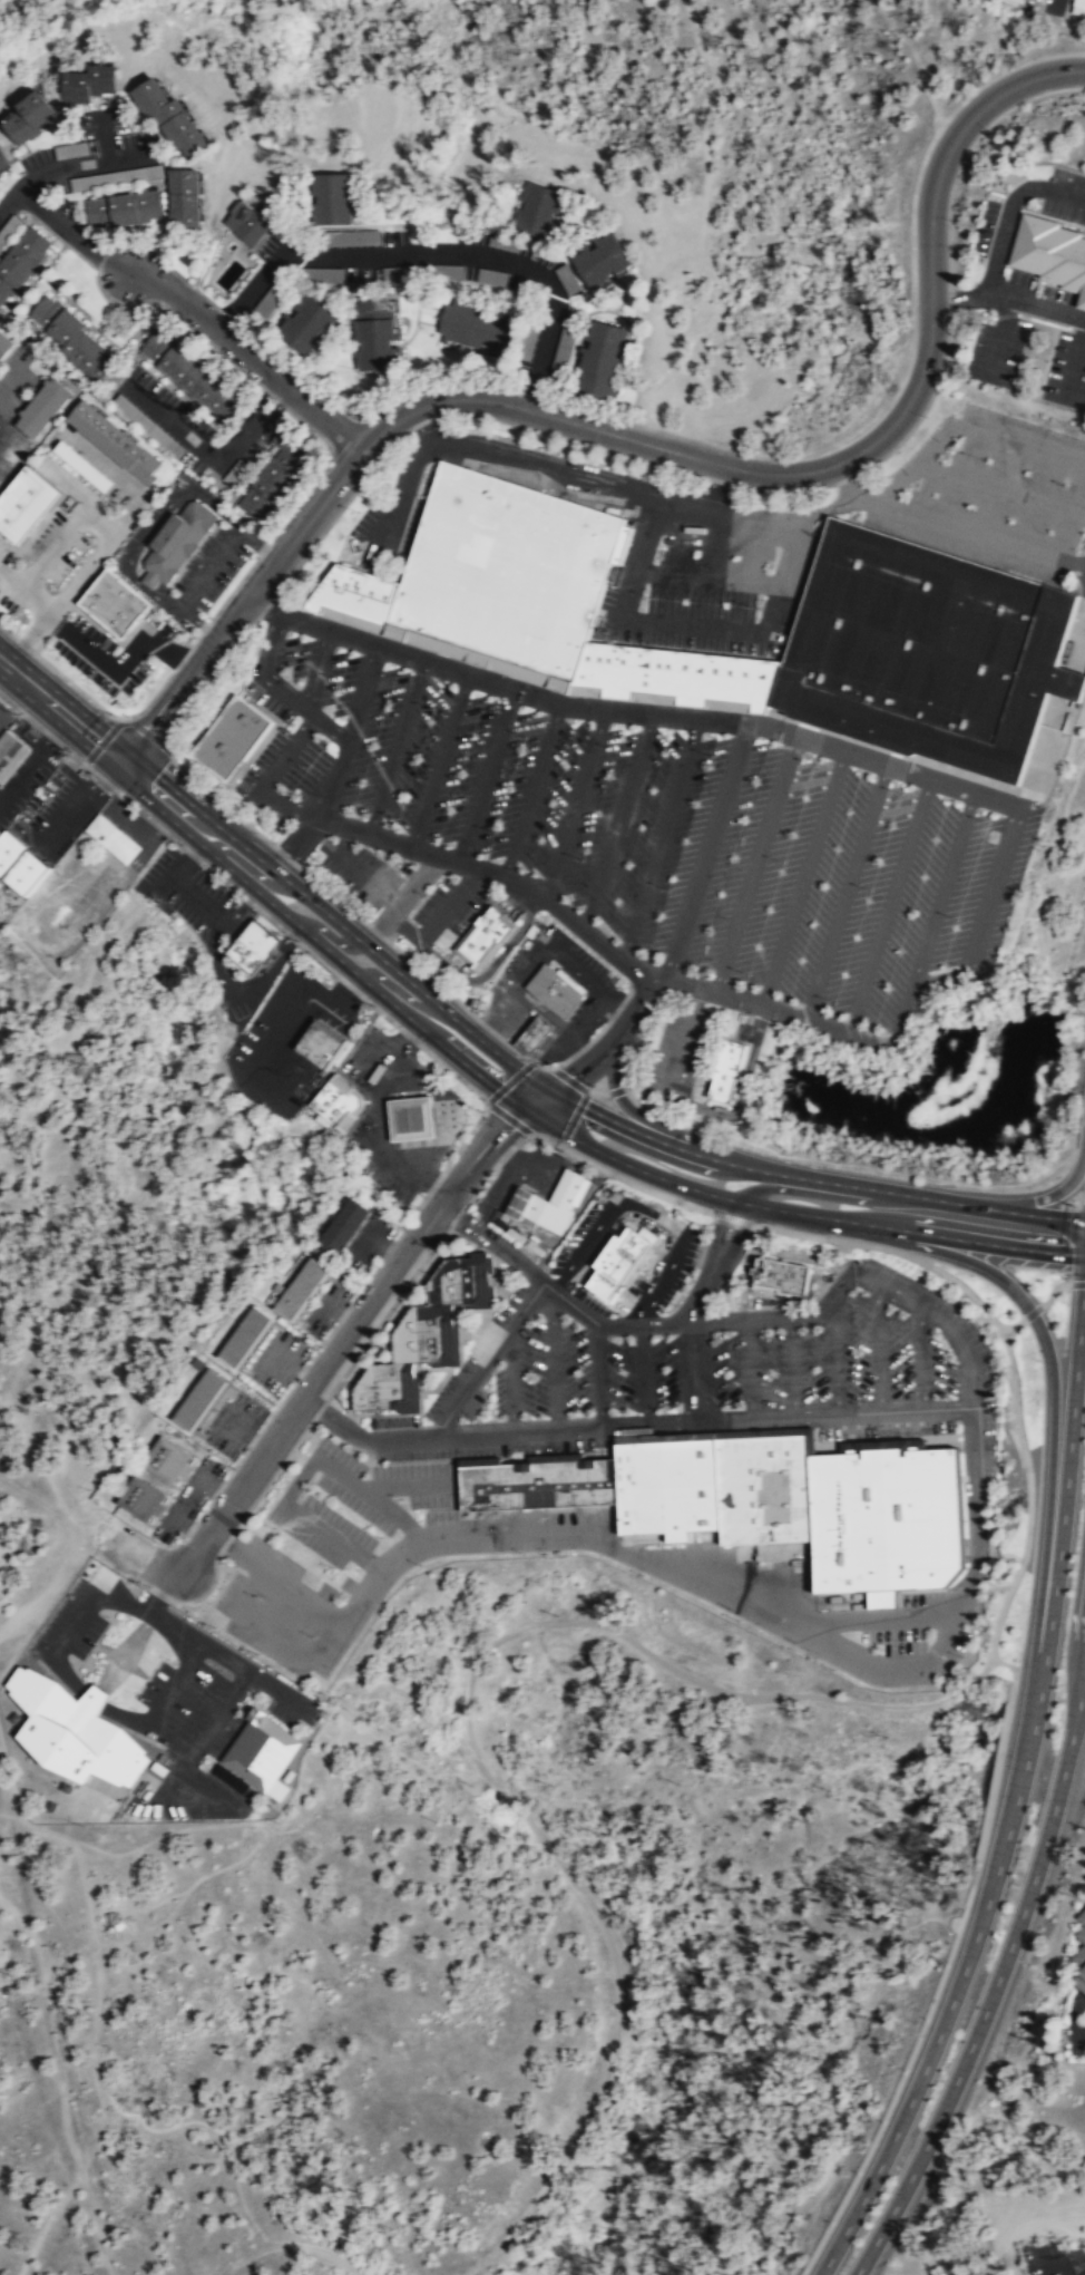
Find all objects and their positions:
building: (1017, 0)
building: (1033, 0)
building: (1036, 0)
road: (1052, 3)
building: (1077, 7)
building: (88, 81)
building: (170, 115)
building: (28, 116)
road: (107, 136)
building: (3, 162)
road: (16, 188)
road: (8, 196)
building: (184, 197)
road: (302, 198)
building: (333, 198)
building: (123, 207)
road: (1008, 207)
building: (536, 208)
road: (360, 211)
building: (247, 223)
road: (402, 224)
building: (359, 237)
building: (504, 242)
road: (436, 253)
building: (1050, 253)
building: (603, 259)
building: (20, 260)
building: (403, 272)
road: (135, 275)
building: (326, 275)
building: (490, 278)
building: (568, 279)
road: (439, 280)
road: (297, 283)
road: (585, 283)
road: (291, 286)
road: (299, 291)
road: (381, 293)
road: (622, 294)
road: (960, 294)
road: (496, 296)
road: (517, 296)
building: (271, 300)
road: (429, 305)
road: (1037, 307)
parking lot: (235, 308)
road: (614, 312)
road: (270, 313)
road: (233, 315)
road: (414, 315)
road: (426, 322)
building: (307, 324)
building: (477, 328)
building: (375, 332)
road: (989, 334)
building: (72, 337)
building: (6, 344)
road: (255, 359)
building: (602, 359)
road: (1073, 359)
road: (504, 366)
building: (190, 373)
road: (573, 391)
road: (534, 393)
street lamp: (549, 397)
building: (47, 407)
road: (994, 432)
road: (8, 441)
building: (114, 441)
road: (661, 447)
road: (213, 457)
road: (881, 458)
road: (101, 467)
road: (558, 467)
road: (845, 471)
road: (970, 477)
building: (274, 478)
street lamp: (365, 484)
road: (346, 500)
road: (397, 503)
building: (25, 504)
parking lot: (785, 528)
road: (721, 531)
road: (754, 531)
road: (65, 532)
road: (961, 532)
building: (178, 539)
building: (669, 539)
road: (135, 542)
road: (224, 550)
parking lot: (49, 553)
parking lot: (209, 567)
building: (508, 568)
road: (703, 579)
road: (74, 582)
road: (26, 587)
building: (359, 592)
road: (276, 593)
building: (114, 601)
road: (267, 605)
road: (89, 616)
road: (283, 630)
road: (719, 630)
road: (270, 642)
building: (928, 649)
road: (1079, 649)
parking lot: (102, 655)
road: (424, 662)
road: (119, 665)
road: (317, 669)
road: (410, 671)
road: (509, 671)
building: (678, 672)
road: (426, 675)
road: (166, 678)
road: (209, 681)
road: (362, 694)
road: (647, 696)
road: (52, 703)
road: (479, 703)
road: (587, 704)
road: (305, 707)
road: (514, 709)
road: (121, 719)
road: (593, 731)
road: (581, 733)
building: (232, 737)
road: (811, 742)
road: (814, 743)
road: (395, 747)
road: (117, 750)
road: (285, 752)
building: (11, 755)
road: (35, 758)
road: (108, 760)
road: (439, 760)
road: (119, 762)
road: (811, 762)
parking lot: (27, 768)
road: (1042, 774)
road: (485, 775)
road: (333, 778)
road: (805, 786)
road: (898, 786)
road: (530, 790)
road: (217, 799)
road: (285, 803)
road: (575, 805)
road: (78, 808)
parking lot: (57, 811)
road: (617, 821)
parking lot: (636, 829)
building: (0, 832)
building: (111, 837)
road: (662, 838)
road: (294, 842)
road: (151, 845)
road: (184, 848)
road: (706, 850)
road: (285, 855)
parking lot: (139, 858)
road: (753, 864)
building: (19, 865)
road: (246, 866)
road: (354, 868)
road: (500, 874)
road: (801, 879)
road: (993, 887)
road: (188, 891)
road: (944, 891)
road: (332, 894)
road: (844, 894)
road: (399, 896)
parking lot: (193, 898)
road: (447, 904)
road: (888, 907)
road: (339, 924)
road: (400, 926)
road: (375, 930)
road: (324, 934)
building: (486, 935)
road: (291, 937)
road: (317, 941)
building: (252, 946)
road: (221, 959)
road: (316, 959)
road: (266, 961)
road: (488, 969)
road: (270, 973)
parking lot: (561, 975)
road: (431, 978)
road: (586, 978)
road: (940, 979)
road: (350, 986)
building: (554, 990)
road: (628, 991)
road: (403, 995)
road: (616, 1008)
road: (617, 1008)
parking lot: (238, 1009)
road: (286, 1009)
road: (902, 1011)
road: (380, 1012)
road: (781, 1013)
road: (519, 1019)
street lamp: (382, 1030)
road: (490, 1030)
road: (599, 1030)
road: (619, 1032)
building: (536, 1033)
gas station: (536, 1033)
road: (409, 1036)
parking lot: (287, 1039)
road: (681, 1039)
building: (320, 1046)
road: (583, 1046)
road: (628, 1048)
street lamp: (345, 1049)
road: (518, 1051)
parking lot: (676, 1052)
street lamp: (417, 1054)
road: (569, 1056)
road: (586, 1057)
road: (556, 1064)
road: (540, 1066)
building: (727, 1068)
road: (339, 1071)
road: (559, 1073)
road: (508, 1082)
road: (561, 1086)
road: (578, 1086)
road: (616, 1090)
road: (597, 1092)
road: (739, 1097)
road: (540, 1099)
road: (364, 1100)
building: (339, 1101)
road: (634, 1112)
road: (508, 1117)
building: (411, 1118)
gas station: (411, 1118)
road: (573, 1118)
road: (382, 1121)
street lamp: (465, 1125)
road: (586, 1128)
street lamp: (439, 1160)
street lamp: (451, 1160)
road: (459, 1177)
road: (664, 1179)
road: (812, 1179)
street lamp: (473, 1192)
road: (822, 1194)
road: (1044, 1197)
building: (549, 1202)
road: (669, 1206)
road: (632, 1214)
road: (604, 1216)
road: (663, 1224)
road: (720, 1225)
building: (342, 1226)
street lamp: (405, 1226)
road: (737, 1233)
road: (949, 1237)
parking lot: (368, 1239)
road: (378, 1239)
road: (768, 1248)
street lamp: (701, 1252)
road: (646, 1253)
building: (618, 1262)
street lamp: (424, 1272)
building: (783, 1274)
street lamp: (970, 1274)
road: (661, 1281)
road: (1077, 1282)
building: (457, 1283)
road: (362, 1284)
building: (301, 1287)
street lamp: (854, 1289)
road: (1052, 1290)
road: (741, 1293)
road: (774, 1295)
street lamp: (958, 1300)
road: (613, 1301)
street lamp: (676, 1304)
parking lot: (324, 1306)
road: (614, 1307)
road: (338, 1312)
road: (1030, 1312)
road: (583, 1313)
street lamp: (531, 1318)
road: (1011, 1326)
road: (454, 1333)
building: (422, 1334)
building: (244, 1335)
road: (1056, 1335)
street lamp: (320, 1346)
road: (878, 1349)
road: (834, 1354)
road: (487, 1358)
road: (553, 1358)
road: (921, 1358)
parking lot: (277, 1360)
street lamp: (1037, 1360)
parking lot: (856, 1363)
road: (286, 1367)
road: (792, 1367)
parking lot: (561, 1369)
road: (749, 1369)
road: (345, 1371)
road: (695, 1371)
road: (596, 1373)
road: (642, 1374)
road: (510, 1380)
building: (383, 1388)
road: (1053, 1389)
building: (199, 1399)
road: (339, 1403)
road: (628, 1403)
street lamp: (662, 1410)
road: (819, 1414)
road: (292, 1416)
street lamp: (478, 1419)
parking lot: (233, 1423)
road: (636, 1426)
road: (612, 1430)
road: (241, 1433)
road: (634, 1436)
road: (705, 1436)
road: (613, 1438)
building: (166, 1459)
street lamp: (234, 1468)
road: (341, 1472)
parking lot: (199, 1478)
road: (297, 1479)
road: (212, 1484)
building: (540, 1485)
road: (409, 1487)
building: (671, 1488)
building: (766, 1489)
building: (140, 1498)
road: (458, 1498)
road: (1062, 1498)
road: (972, 1504)
road: (384, 1505)
fountain: (1003, 1510)
road: (61, 1518)
parking lot: (172, 1518)
building: (890, 1523)
road: (186, 1525)
road: (412, 1529)
road: (323, 1530)
road: (526, 1530)
road: (224, 1542)
parking lot: (335, 1553)
road: (374, 1565)
road: (153, 1566)
road: (263, 1568)
road: (1018, 1569)
street lamp: (146, 1585)
parking lot: (768, 1587)
road: (49, 1591)
road: (874, 1616)
road: (218, 1640)
road: (95, 1641)
road: (102, 1642)
road: (206, 1647)
road: (895, 1663)
road: (985, 1666)
road: (146, 1678)
road: (248, 1683)
road: (71, 1688)
road: (243, 1707)
building: (74, 1730)
road: (234, 1736)
road: (468, 1746)
building: (260, 1750)
road: (187, 1753)
road: (711, 1798)
street lamp: (974, 1861)
road: (229, 1863)
street lamp: (962, 1908)
building: (1079, 1954)
street lamp: (944, 1963)
road: (999, 1979)
road: (97, 2000)
road: (954, 2004)
street lamp: (925, 2018)
street lamp: (903, 2069)
road: (60, 2082)
street lamp: (881, 2120)
street lamp: (856, 2171)
road: (46, 2220)
street lamp: (830, 2220)
road: (292, 2243)
street lamp: (803, 2267)

